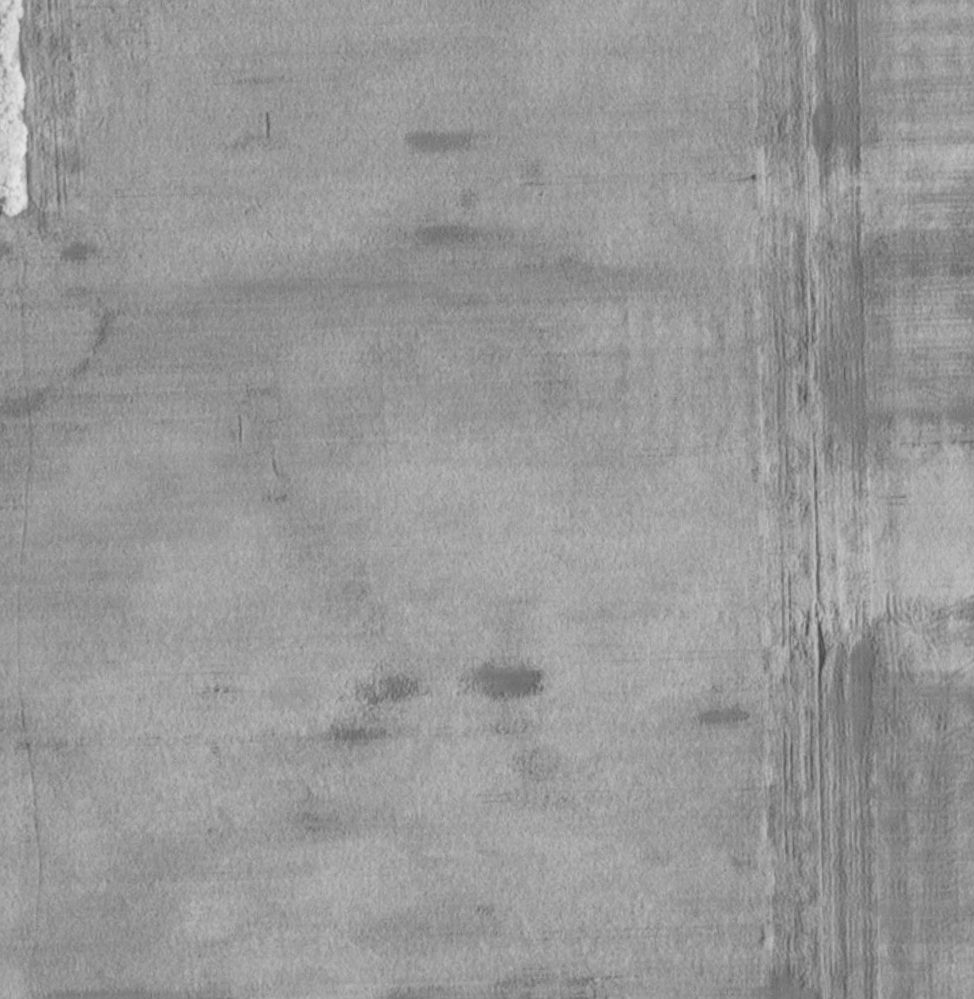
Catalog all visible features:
crop: (489, 501)

